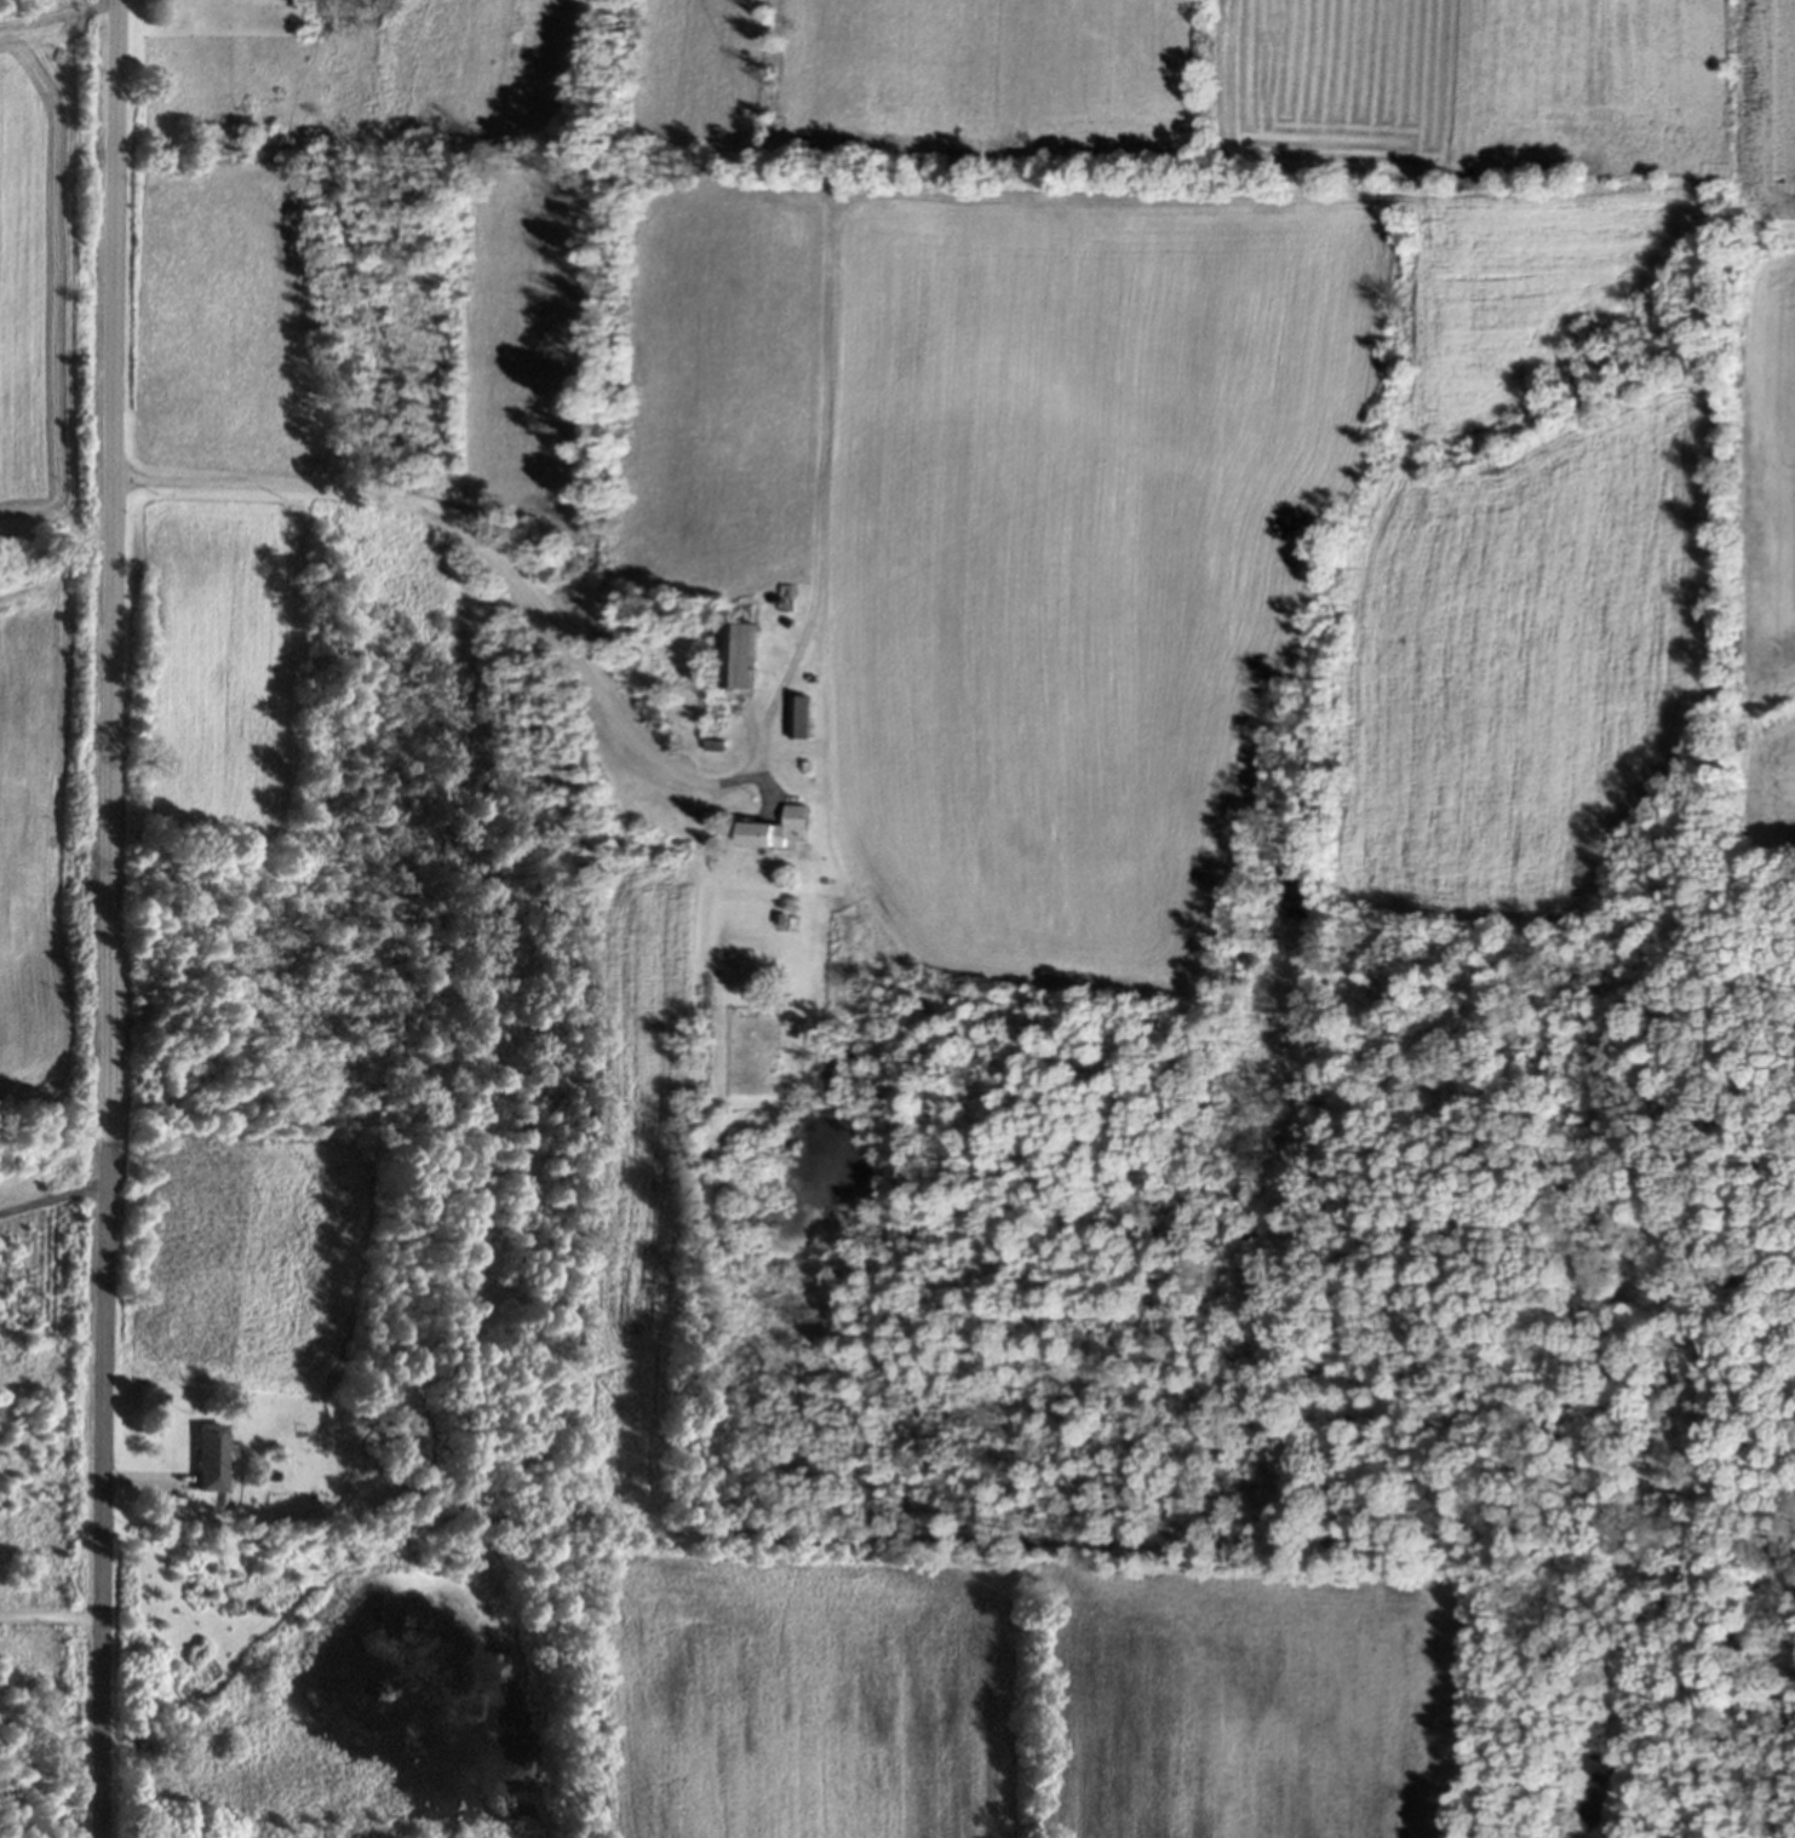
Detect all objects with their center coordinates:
building: (734, 657)
building: (795, 718)
building: (711, 722)
road: (638, 746)
building: (770, 832)
road: (110, 918)
road: (55, 1200)
building: (210, 1460)
road: (52, 1620)

